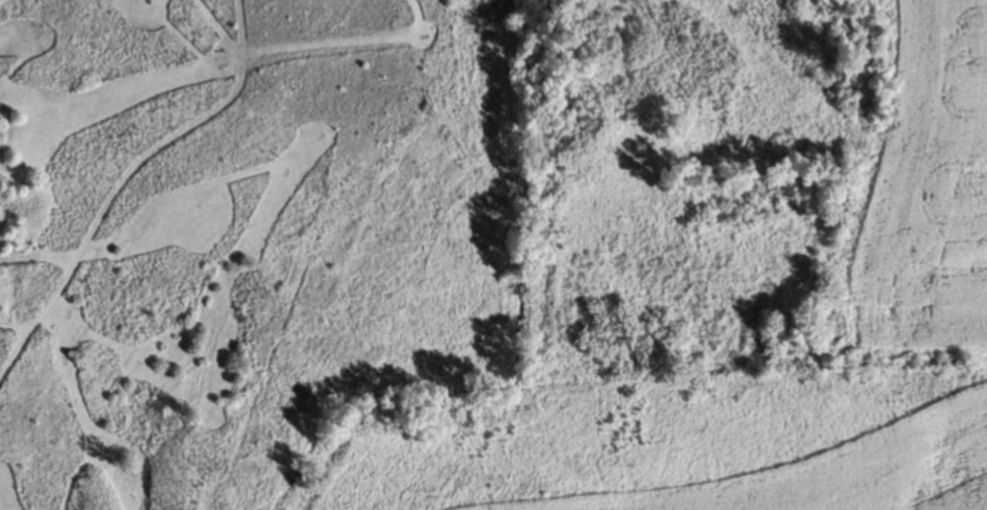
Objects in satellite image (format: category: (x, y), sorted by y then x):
road: (123, 183)
park: (252, 247)

